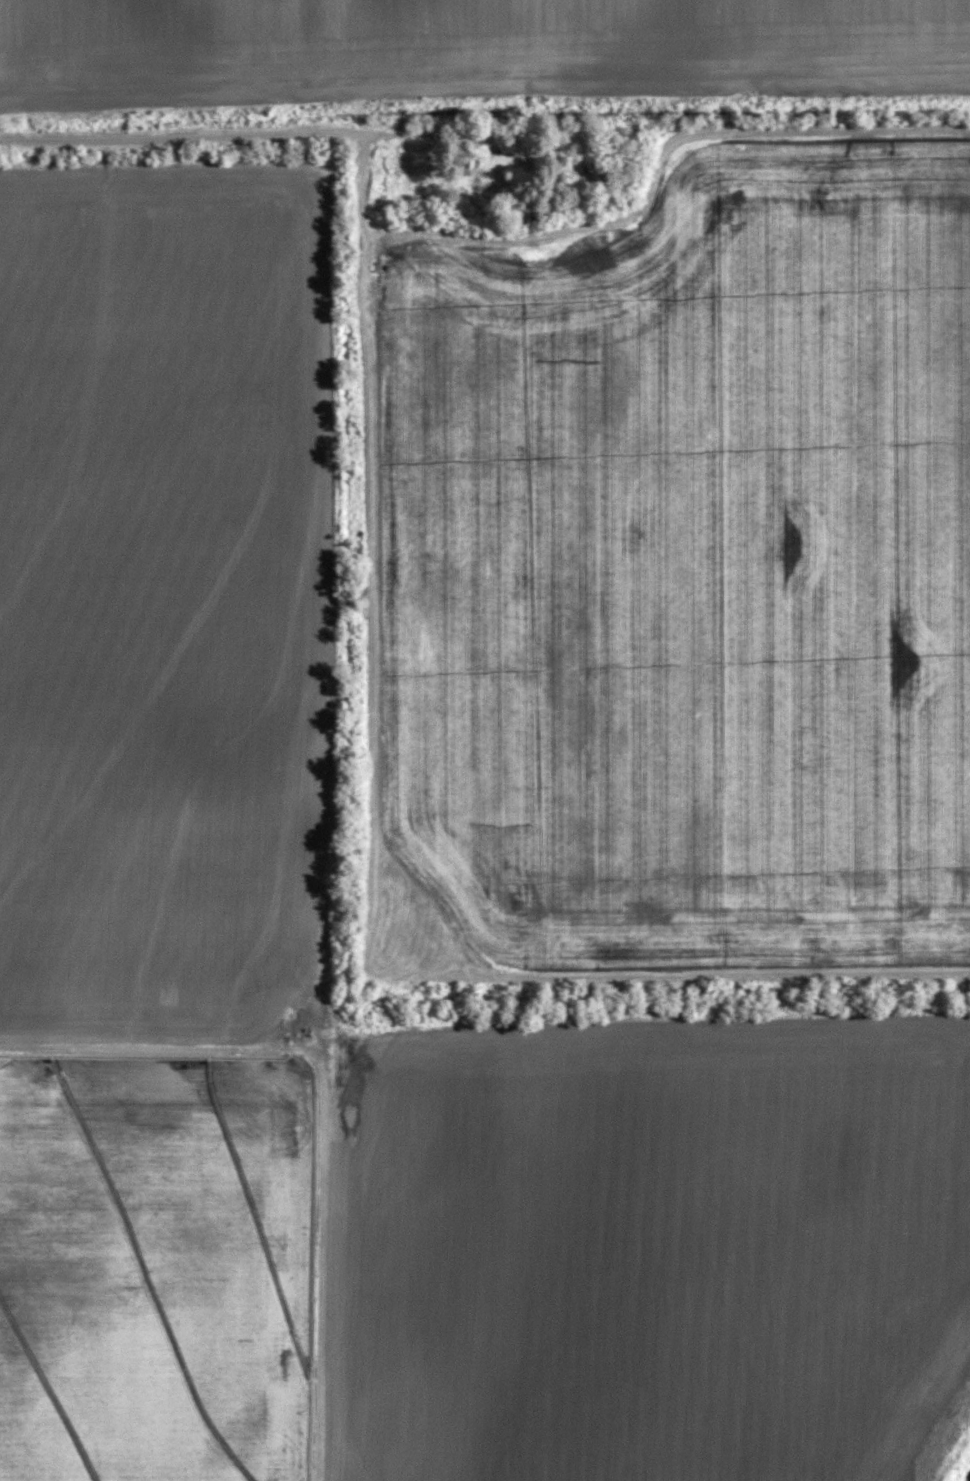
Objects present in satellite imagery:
road: (241, 133)
building: (594, 171)

